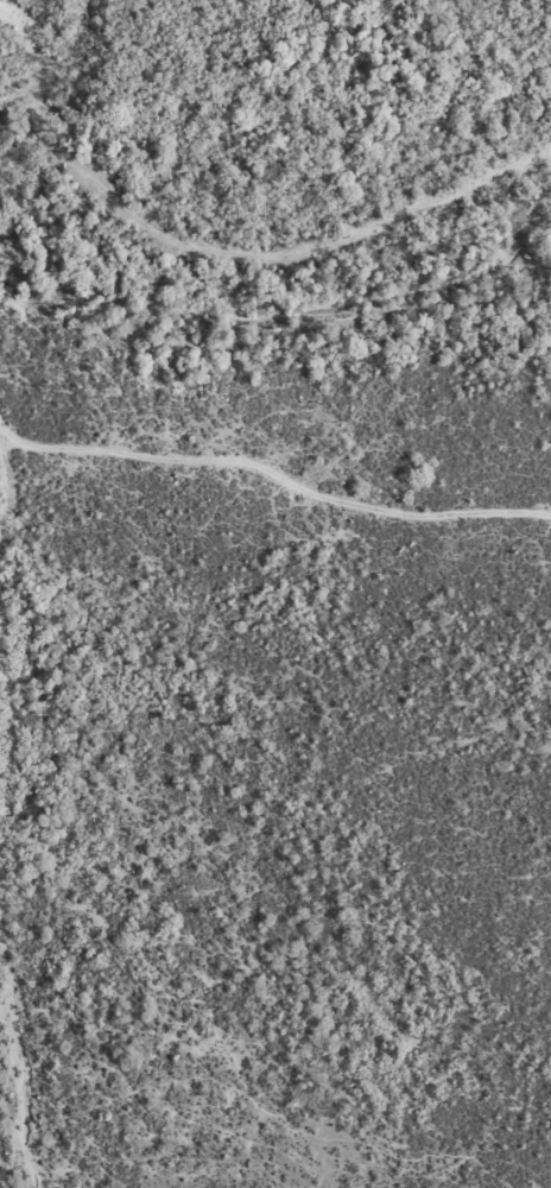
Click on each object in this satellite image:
road: (8, 867)

